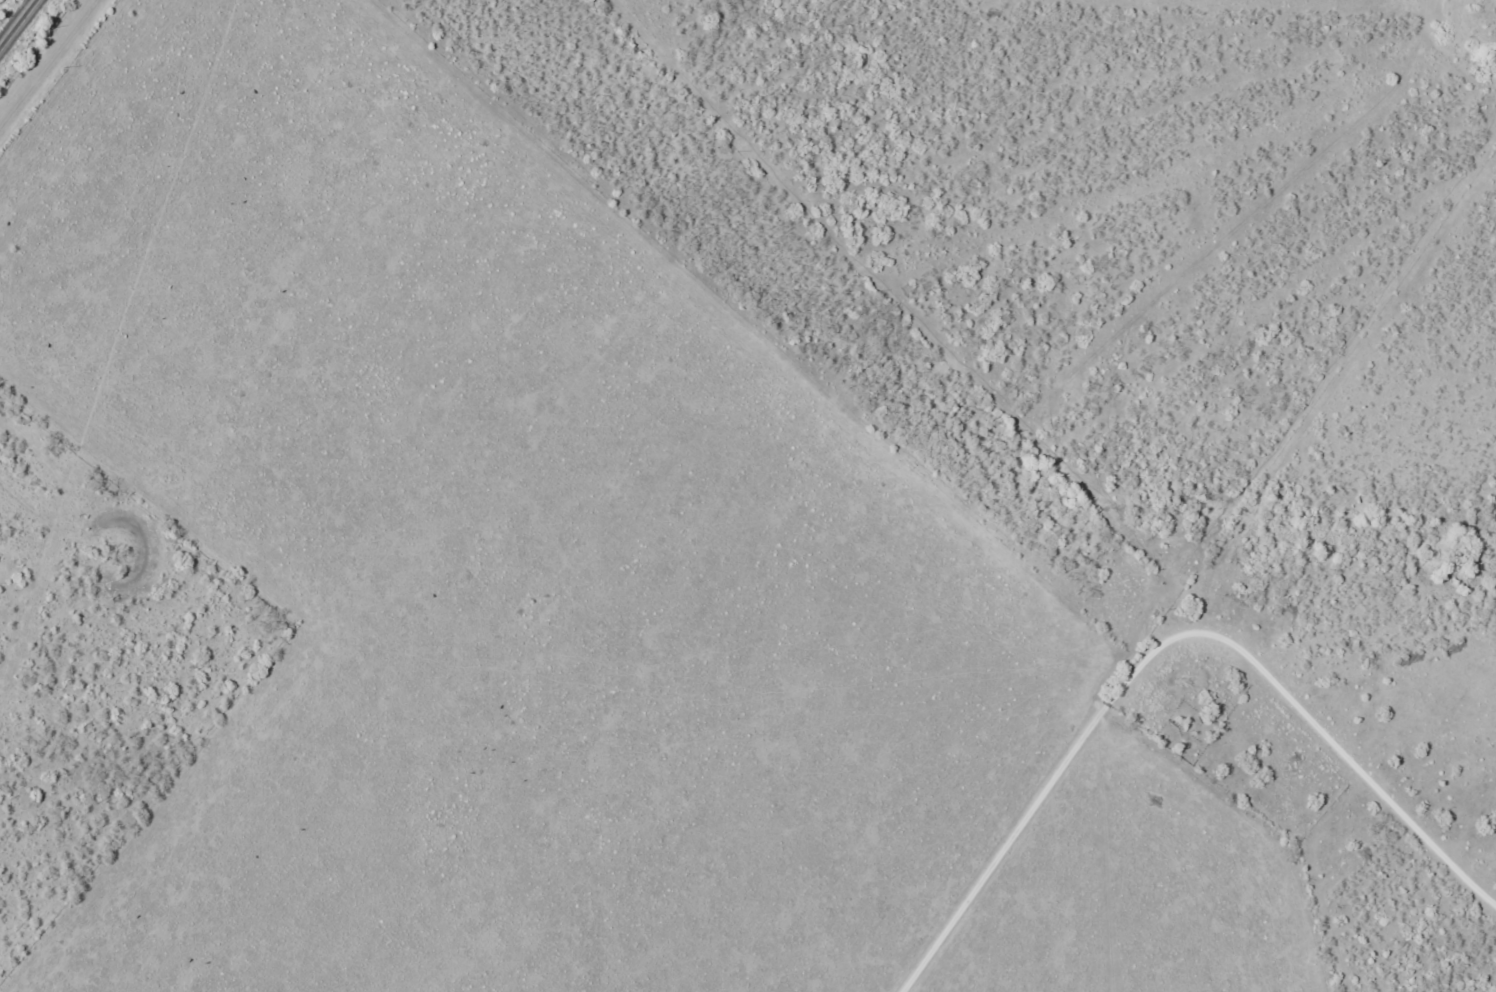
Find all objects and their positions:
railway: (19, 25)
road: (56, 74)

